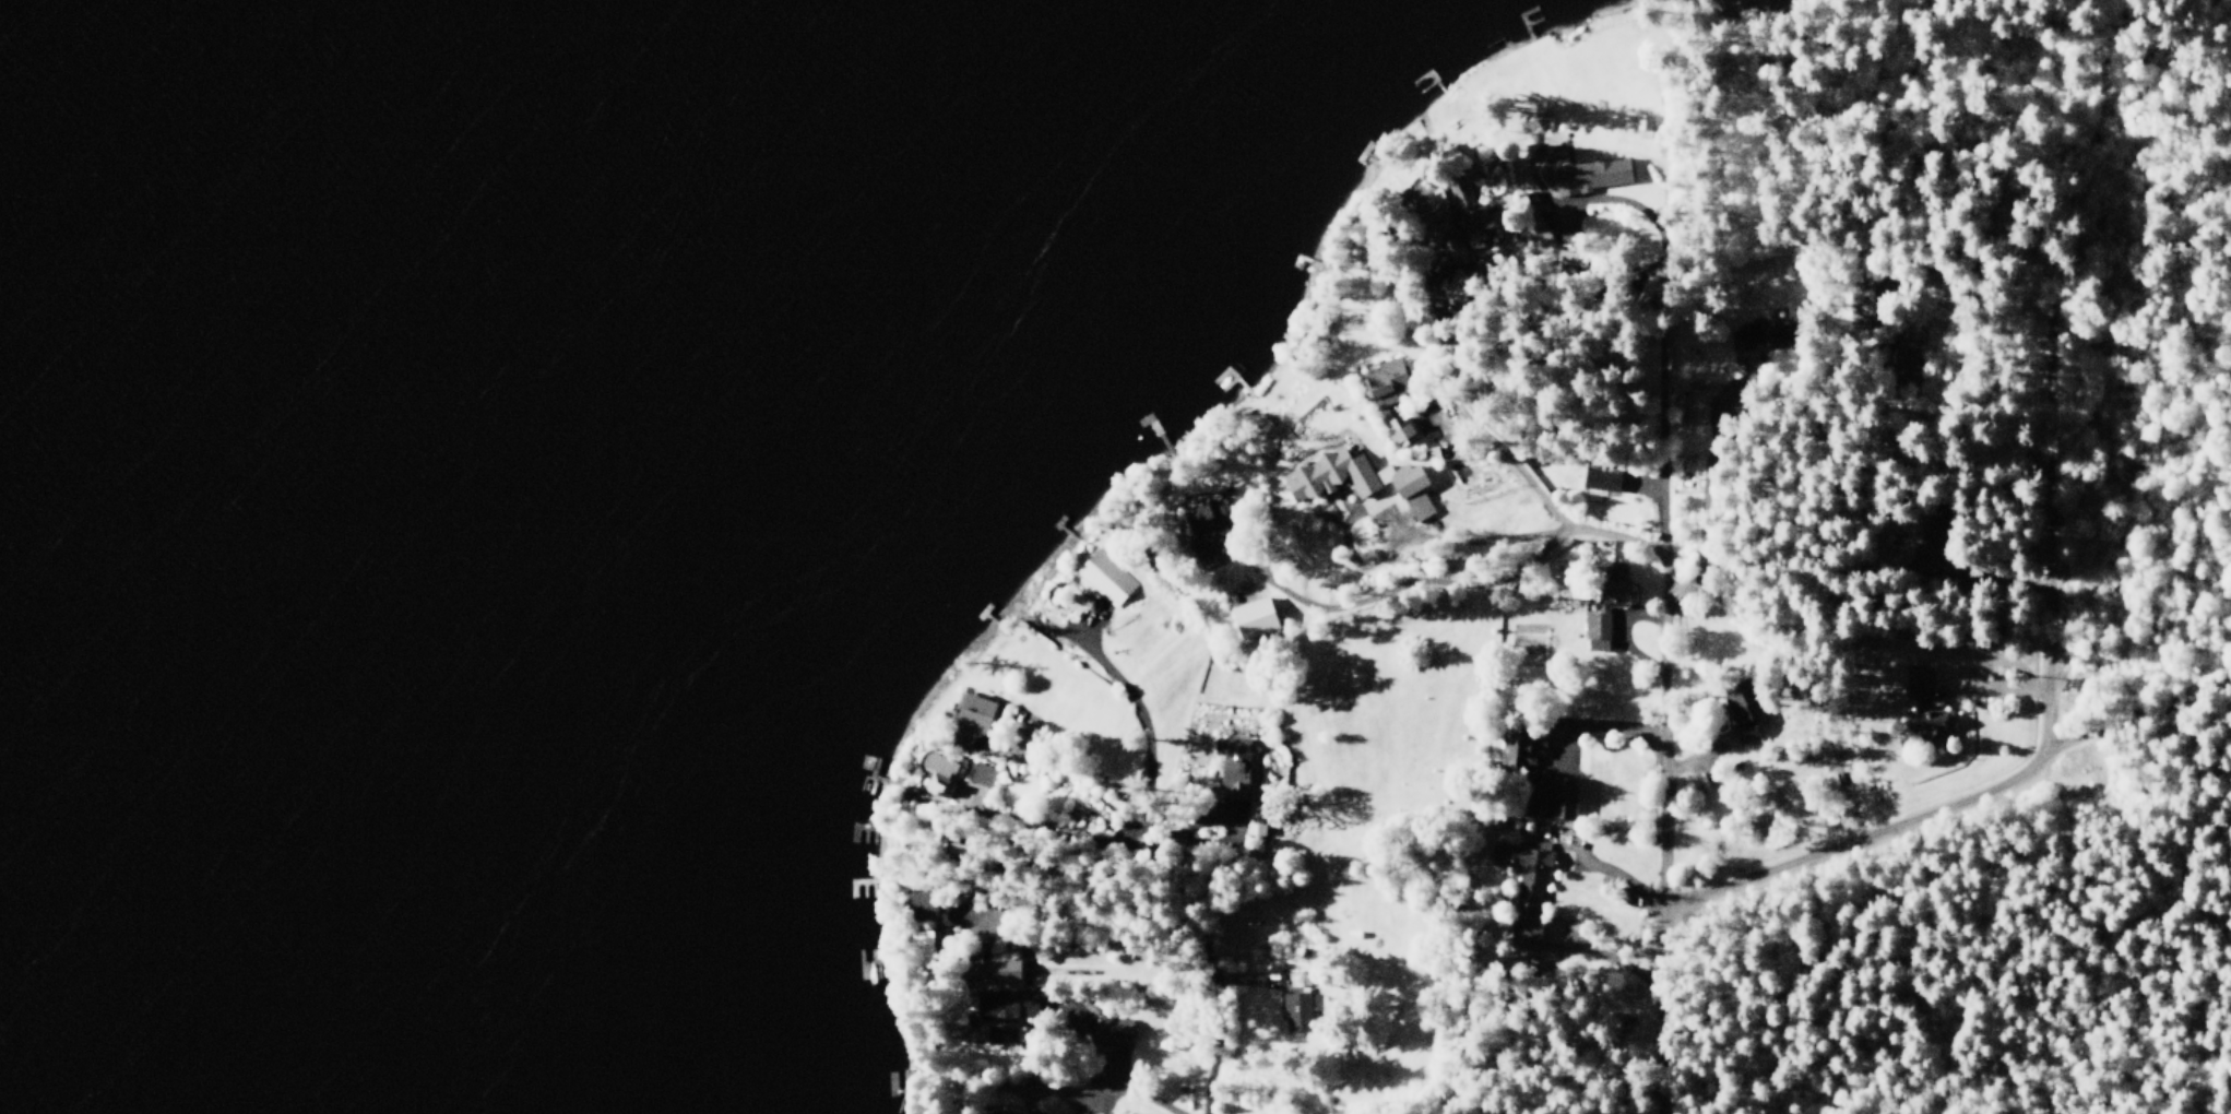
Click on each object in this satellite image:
pier: (1522, 20)
pier: (1532, 22)
road: (2149, 25)
road: (1659, 59)
road: (1944, 72)
pier: (1429, 74)
building: (1642, 127)
building: (1542, 128)
pier: (1363, 152)
road: (2067, 158)
pier: (1377, 159)
road: (1529, 175)
building: (1594, 175)
road: (1668, 187)
building: (1463, 198)
building: (1427, 213)
building: (1543, 234)
building: (1587, 239)
building: (1480, 240)
building: (1859, 305)
building: (1758, 340)
building: (1903, 359)
building: (1387, 382)
river: (158, 393)
building: (1689, 406)
road: (1429, 411)
road: (1711, 422)
road: (1483, 424)
building: (1399, 430)
building: (1327, 474)
building: (1599, 482)
building: (1410, 490)
road: (1646, 493)
building: (1203, 525)
road: (1397, 541)
building: (1932, 545)
road: (2046, 557)
road: (1993, 574)
road: (1395, 576)
building: (1103, 580)
building: (1255, 617)
road: (1035, 620)
building: (1603, 620)
road: (1082, 627)
road: (1617, 636)
road: (1666, 665)
road: (2005, 696)
building: (1913, 707)
building: (1748, 711)
road: (2137, 714)
building: (973, 718)
road: (1139, 719)
road: (1600, 731)
building: (1522, 742)
building: (1232, 747)
road: (1696, 757)
building: (942, 761)
road: (1089, 773)
building: (983, 775)
building: (1236, 780)
building: (1548, 799)
building: (1257, 820)
road: (1058, 823)
road: (1208, 826)
road: (1836, 850)
road: (1616, 875)
building: (1526, 886)
road: (1033, 905)
building: (926, 910)
building: (924, 945)
road: (1607, 960)
road: (1208, 969)
building: (1001, 971)
road: (1082, 972)
road: (1242, 977)
building: (1297, 1006)
building: (1004, 1014)
building: (1113, 1032)
road: (1126, 1091)
road: (1064, 1101)
building: (1002, 1113)
building: (1085, 1113)

